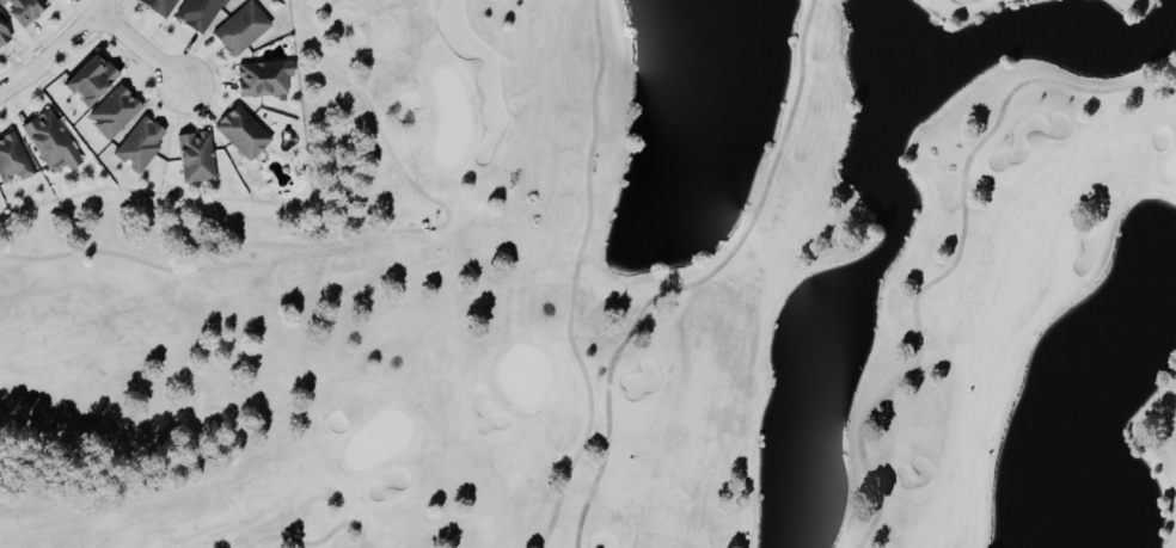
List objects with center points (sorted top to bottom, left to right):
building: (158, 6)
building: (20, 10)
building: (197, 13)
building: (240, 27)
building: (2, 33)
road: (139, 44)
road: (63, 59)
building: (262, 76)
building: (87, 78)
building: (112, 111)
building: (241, 131)
building: (49, 138)
building: (139, 143)
building: (194, 156)
building: (11, 159)
road: (354, 238)
road: (960, 253)
road: (576, 277)
road: (697, 282)
park: (632, 291)
road: (317, 540)

